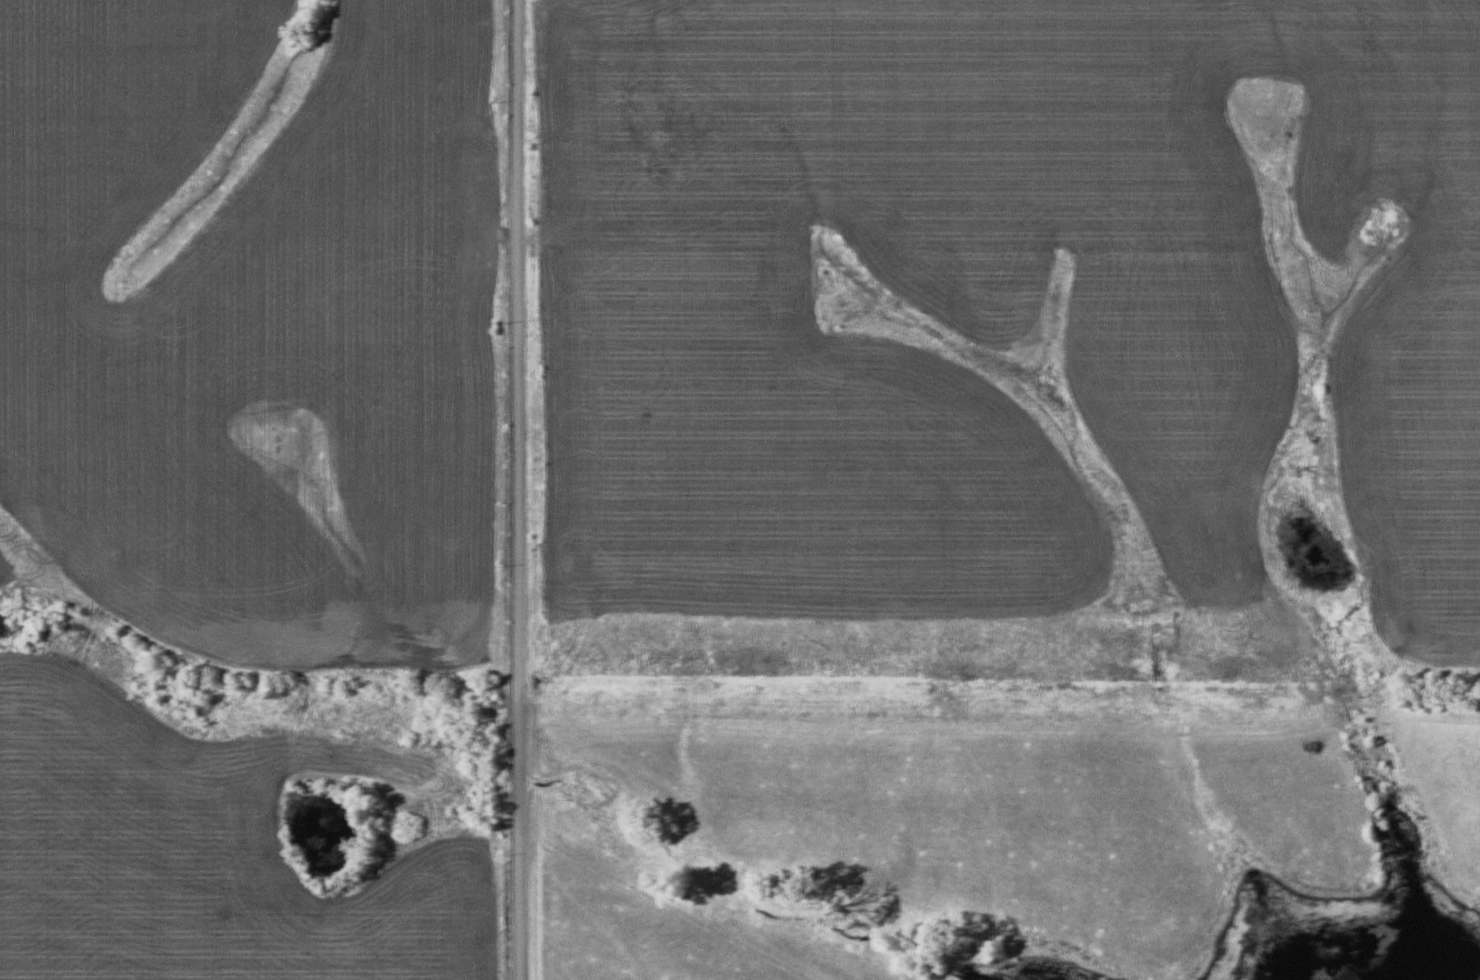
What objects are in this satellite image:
road: (514, 490)

